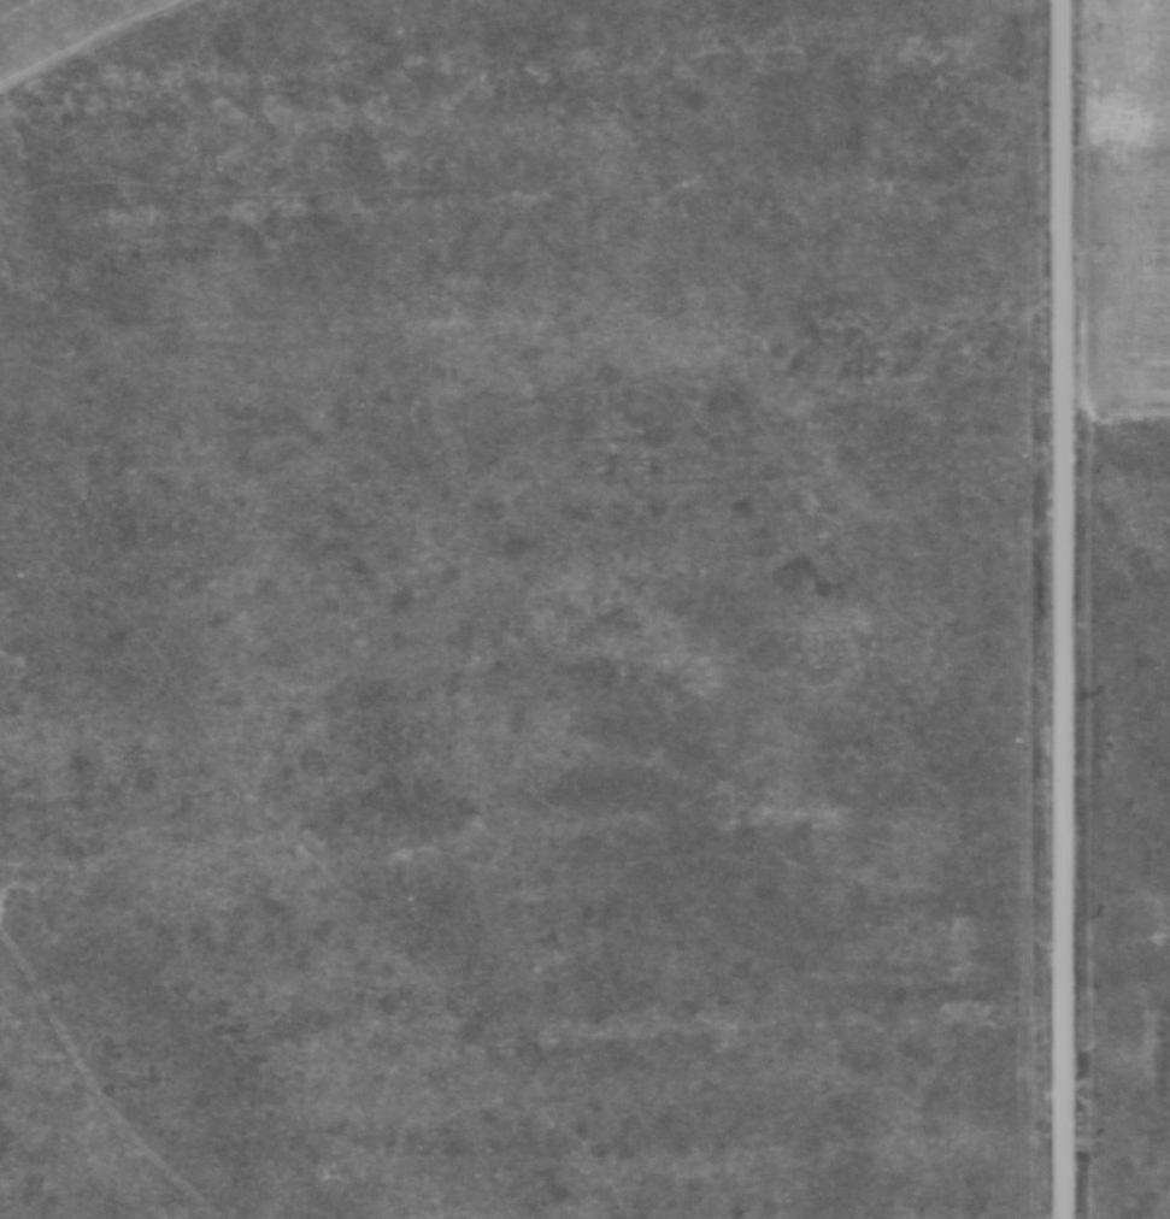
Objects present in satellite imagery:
crop: (1129, 210)
road: (1063, 608)

